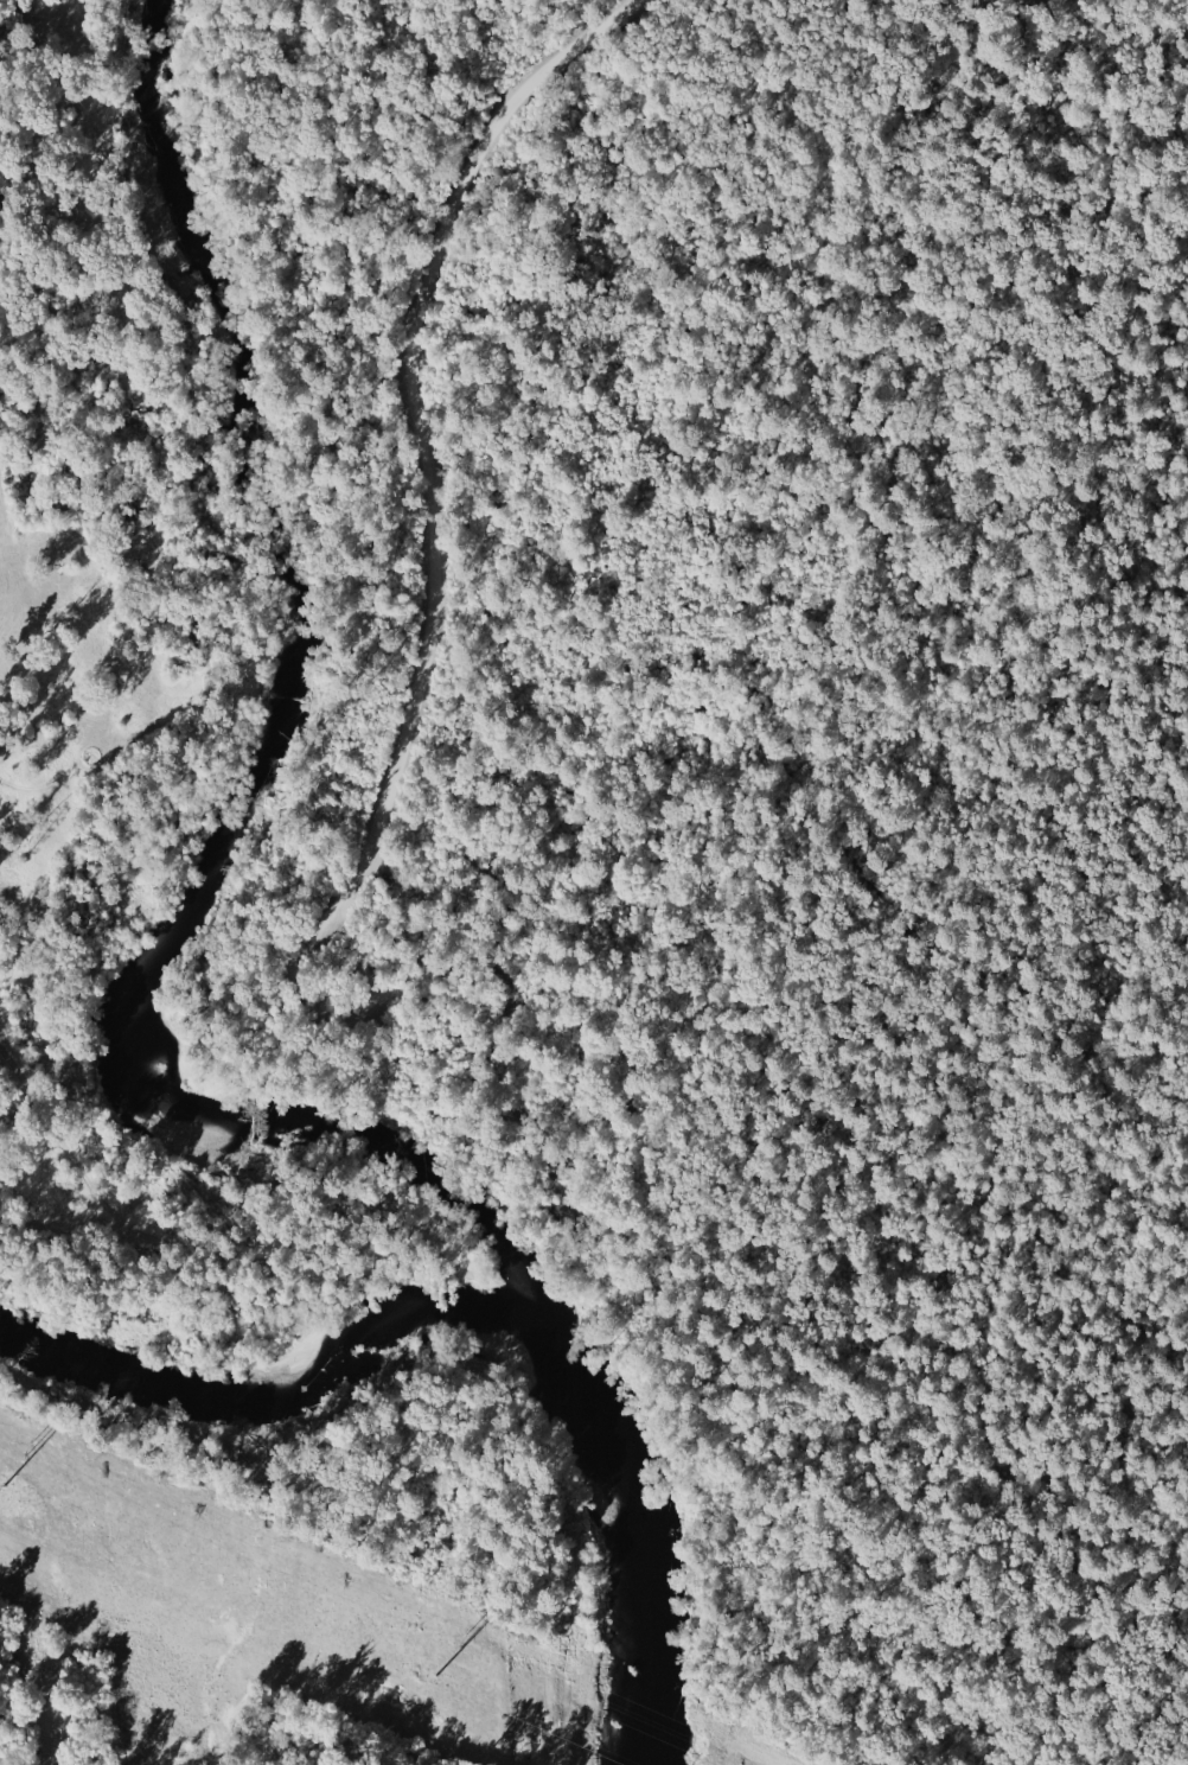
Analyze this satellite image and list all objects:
road: (429, 505)
river: (213, 802)
road: (775, 866)
river: (471, 1305)
power tower: (30, 1449)
power tower: (465, 1642)

